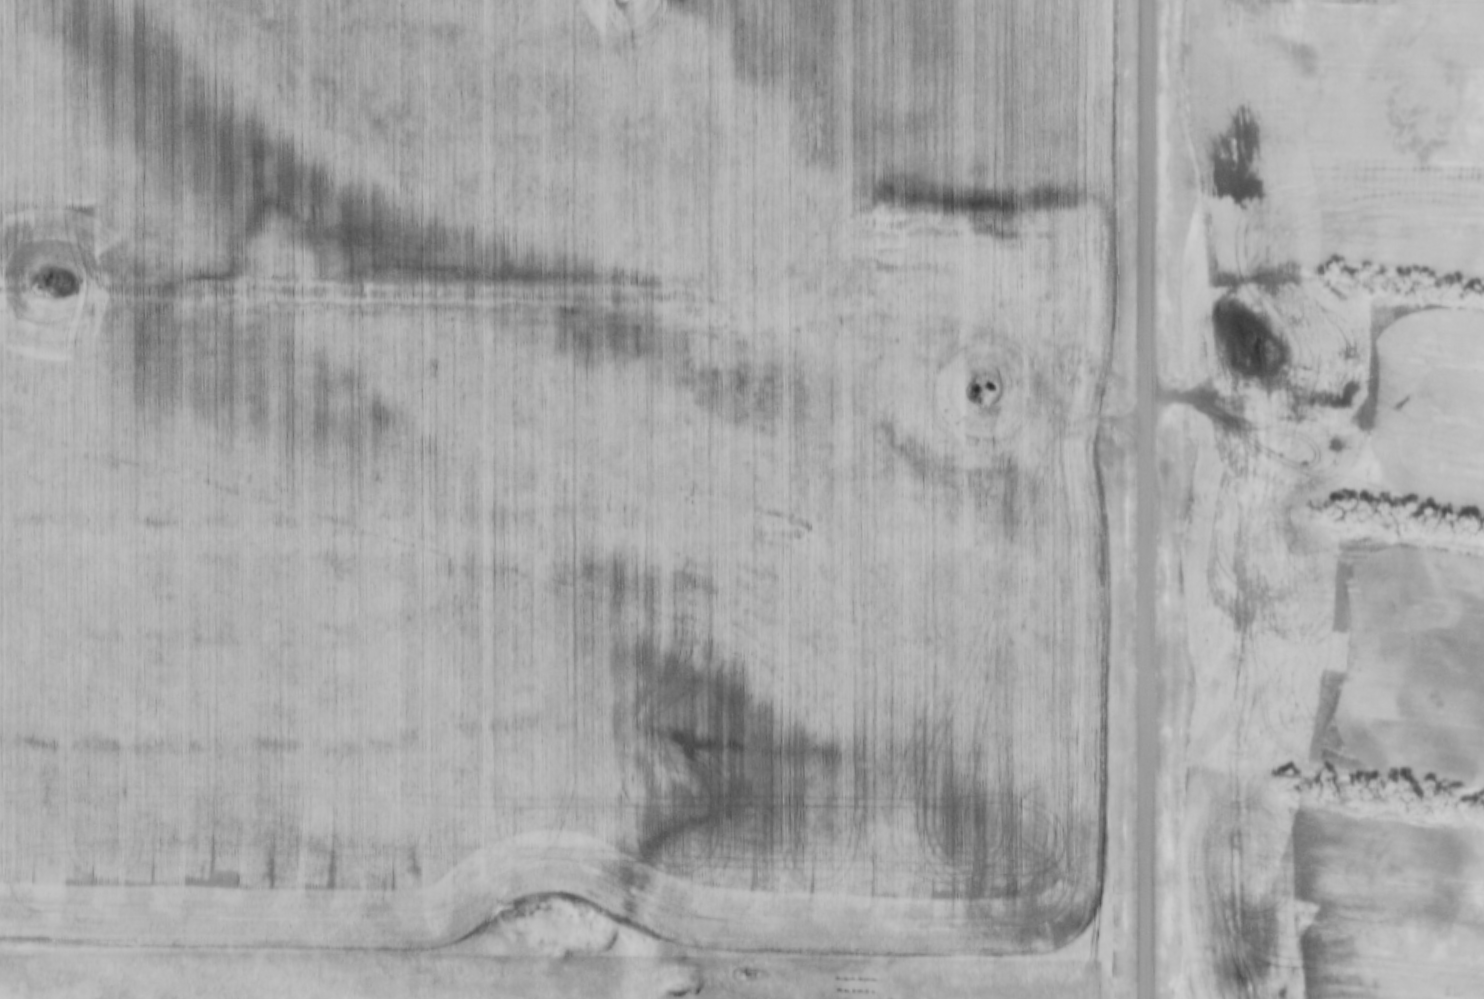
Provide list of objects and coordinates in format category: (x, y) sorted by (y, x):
road: (1153, 499)

